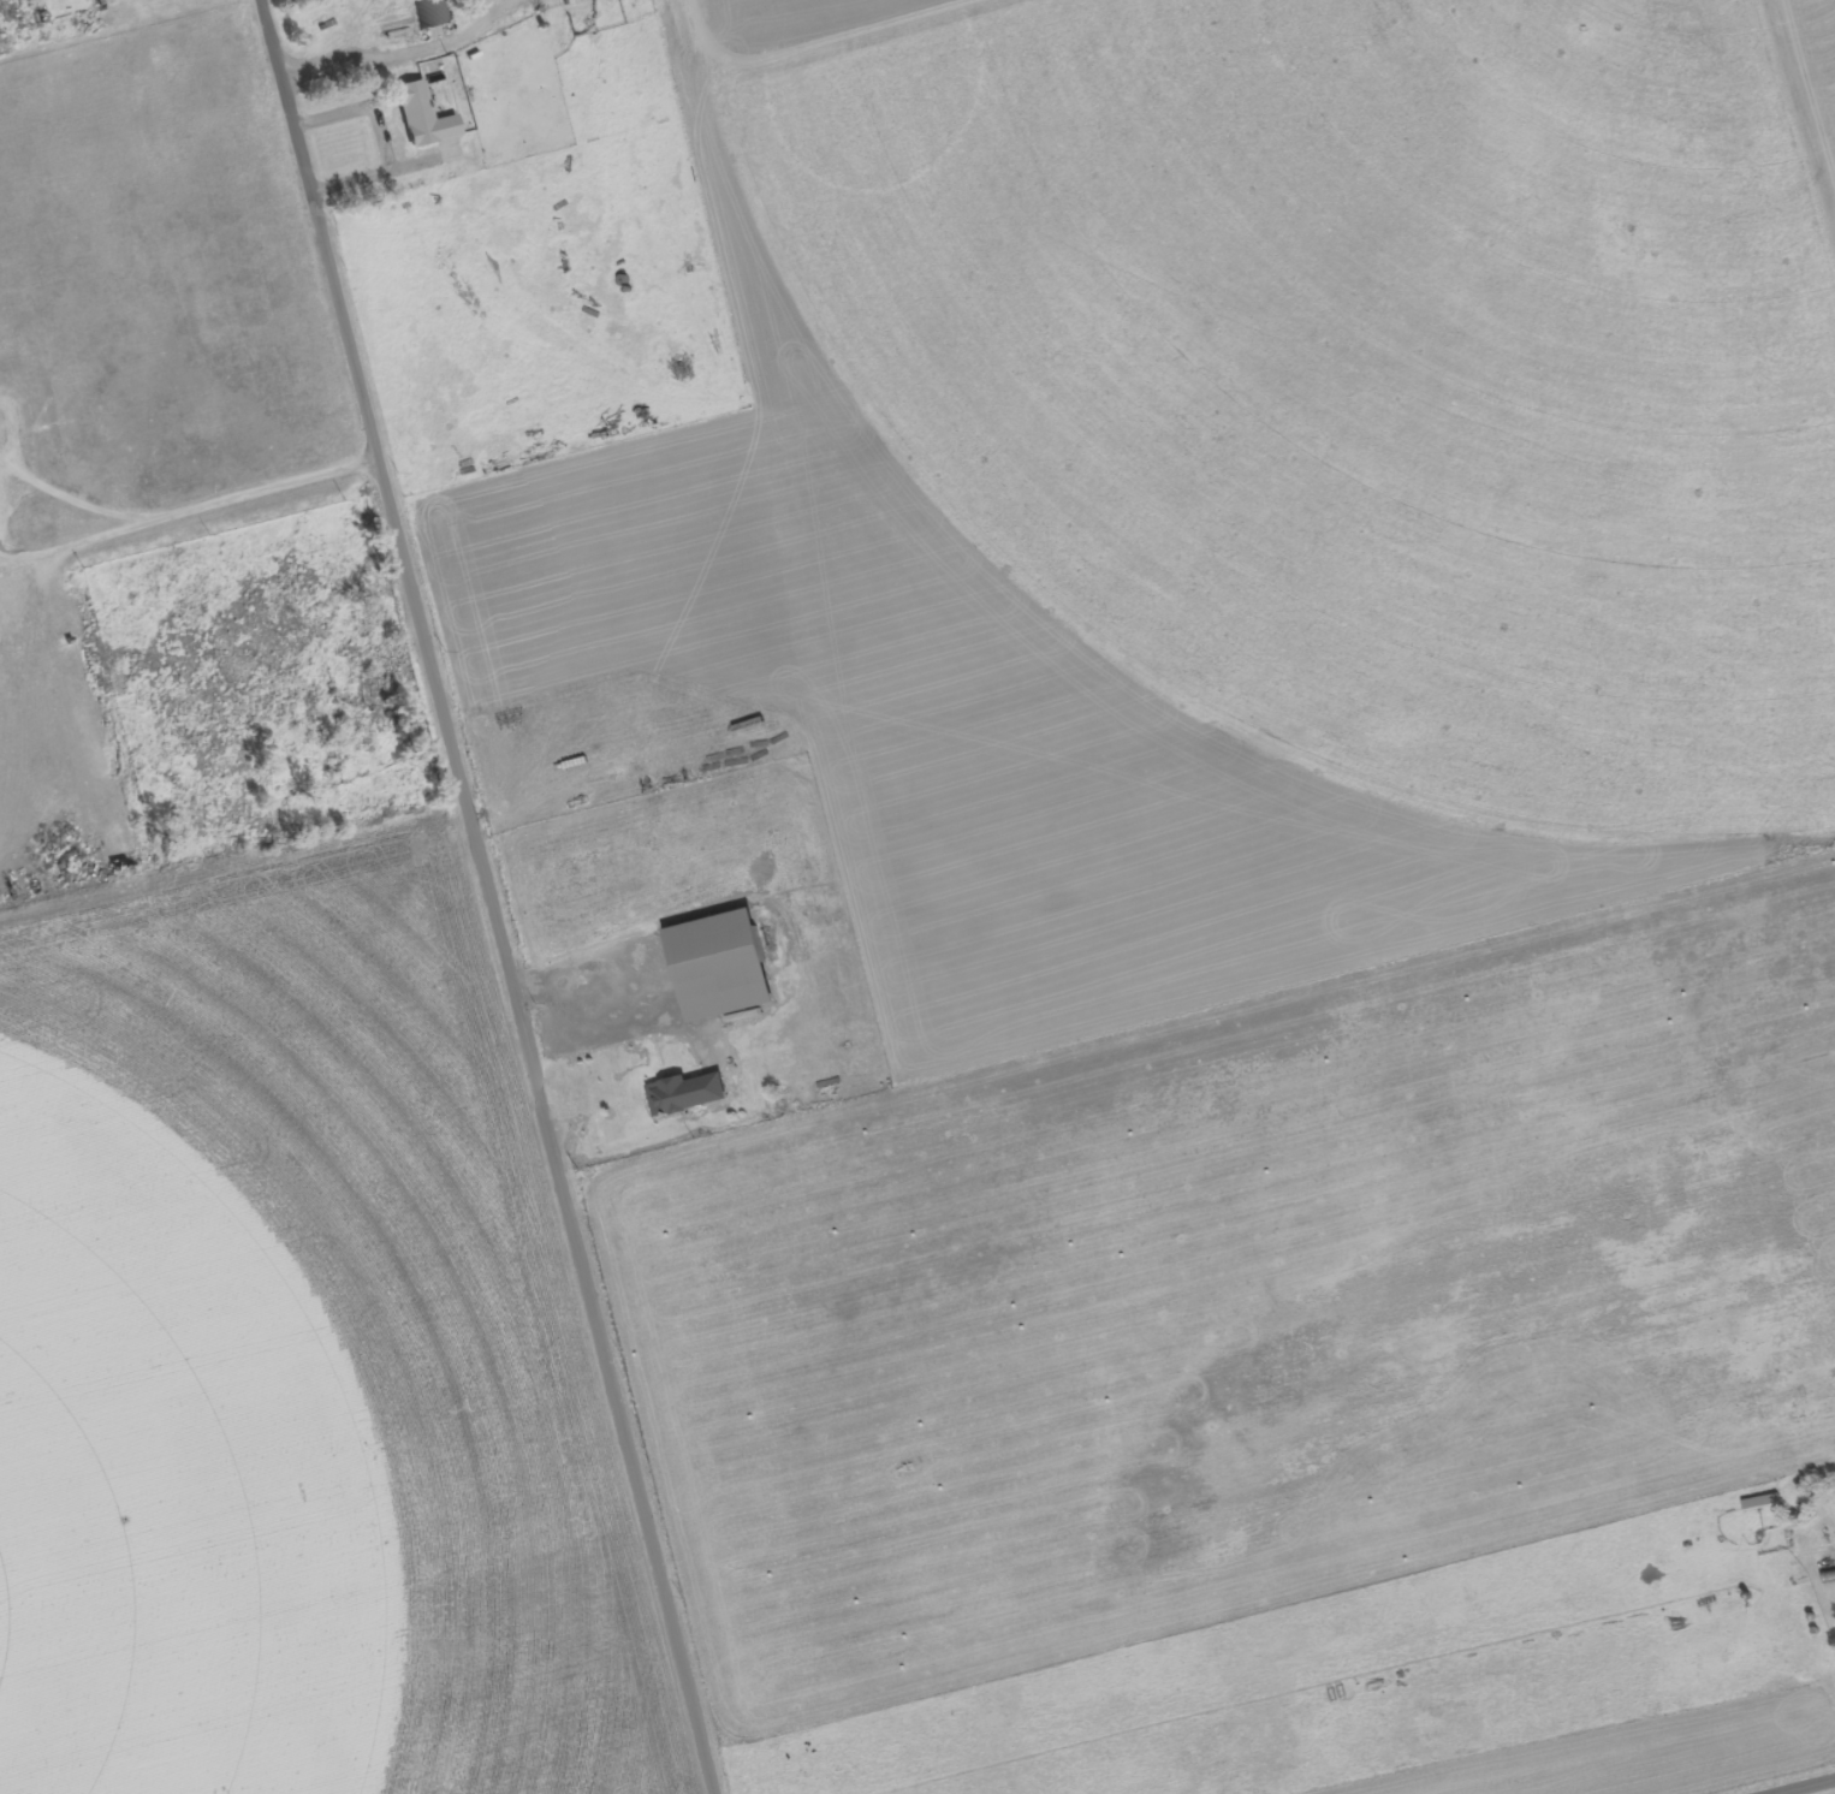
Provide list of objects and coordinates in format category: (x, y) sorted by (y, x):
building: (575, 1)
building: (432, 13)
building: (426, 118)
road: (486, 897)
building: (728, 968)
building: (693, 1095)
building: (1765, 1504)
road: (1799, 1784)

